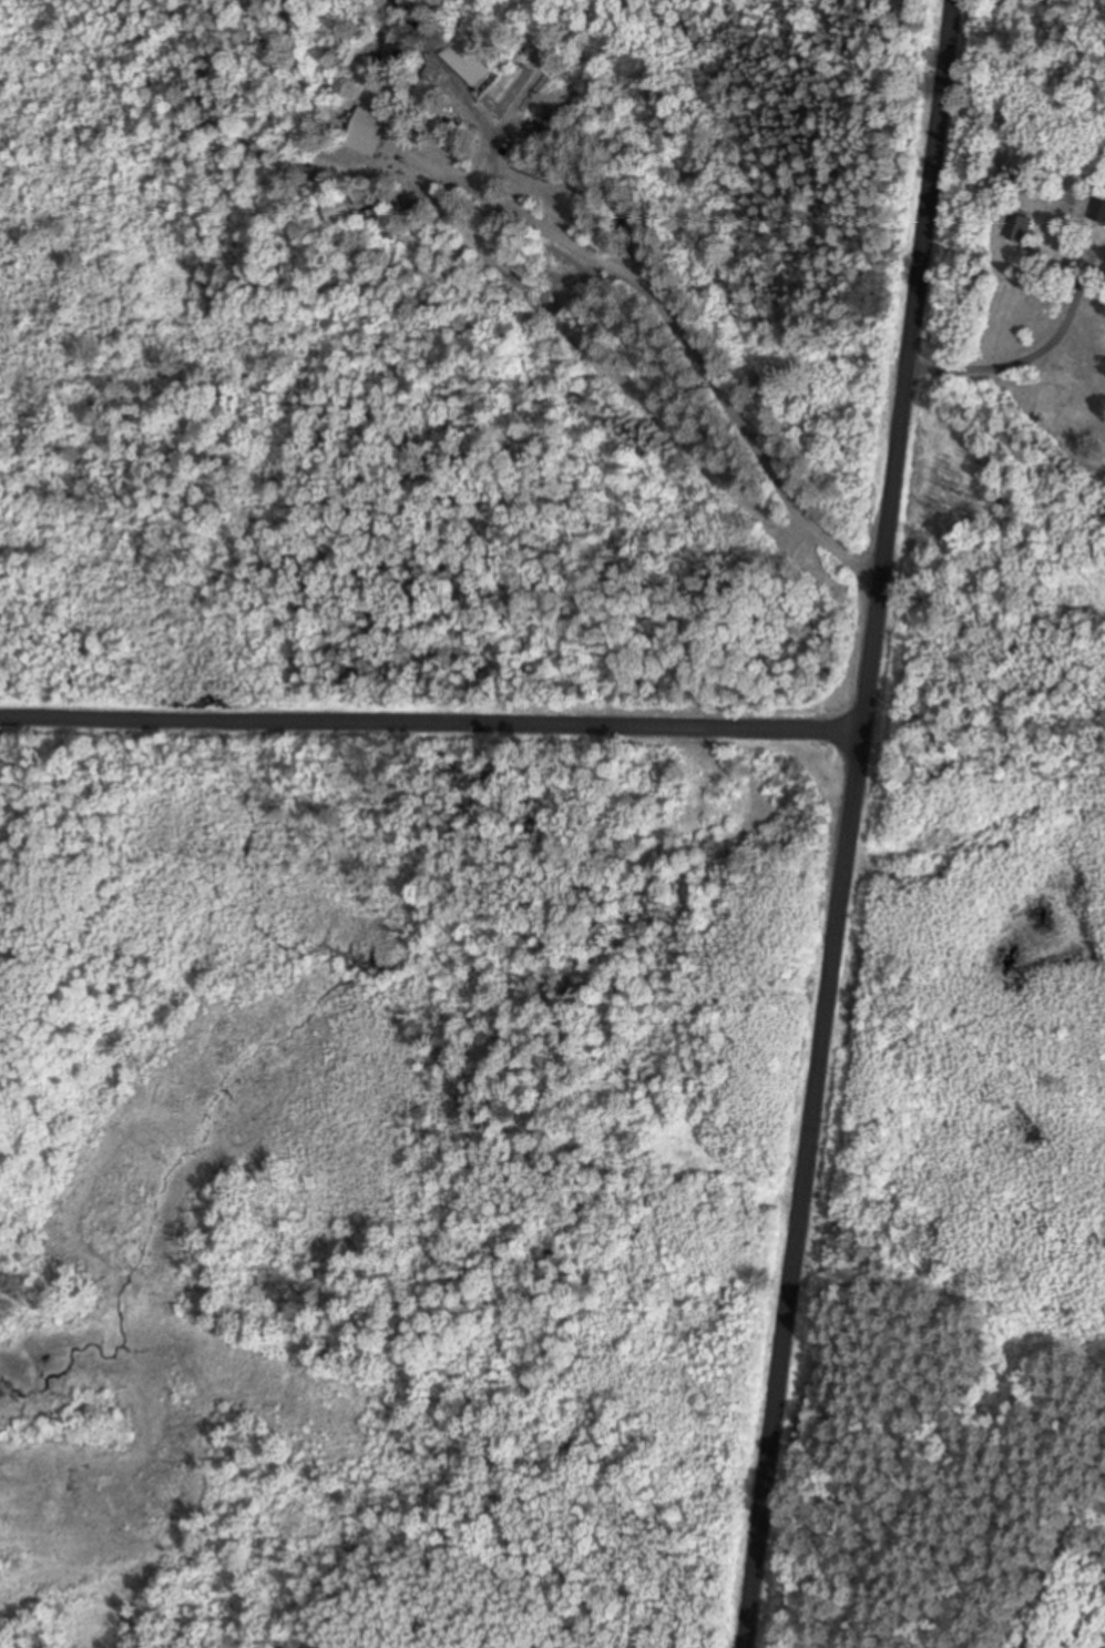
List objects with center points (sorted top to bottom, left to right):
building: (398, 49)
building: (429, 83)
building: (368, 133)
building: (336, 213)
building: (1021, 231)
road: (429, 730)
road: (849, 824)

